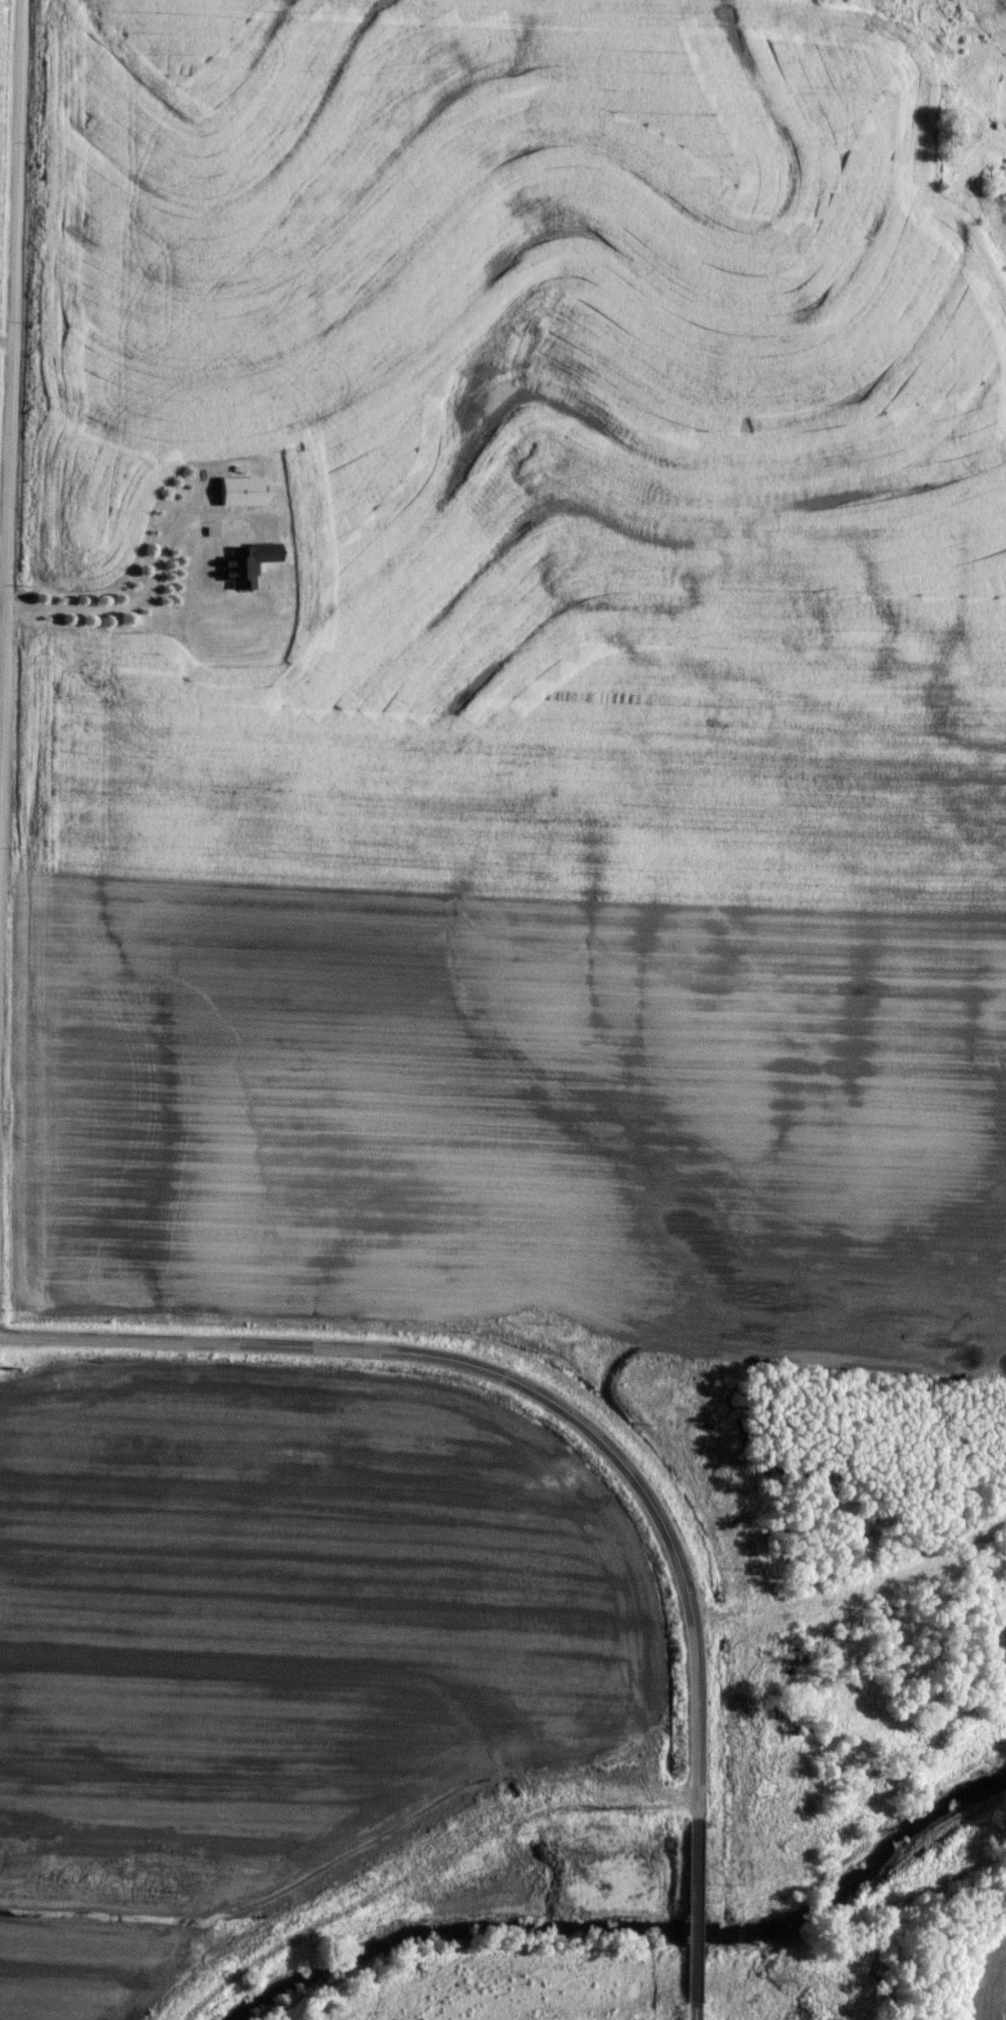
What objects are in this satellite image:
road: (10, 344)
building: (239, 492)
road: (593, 1434)

